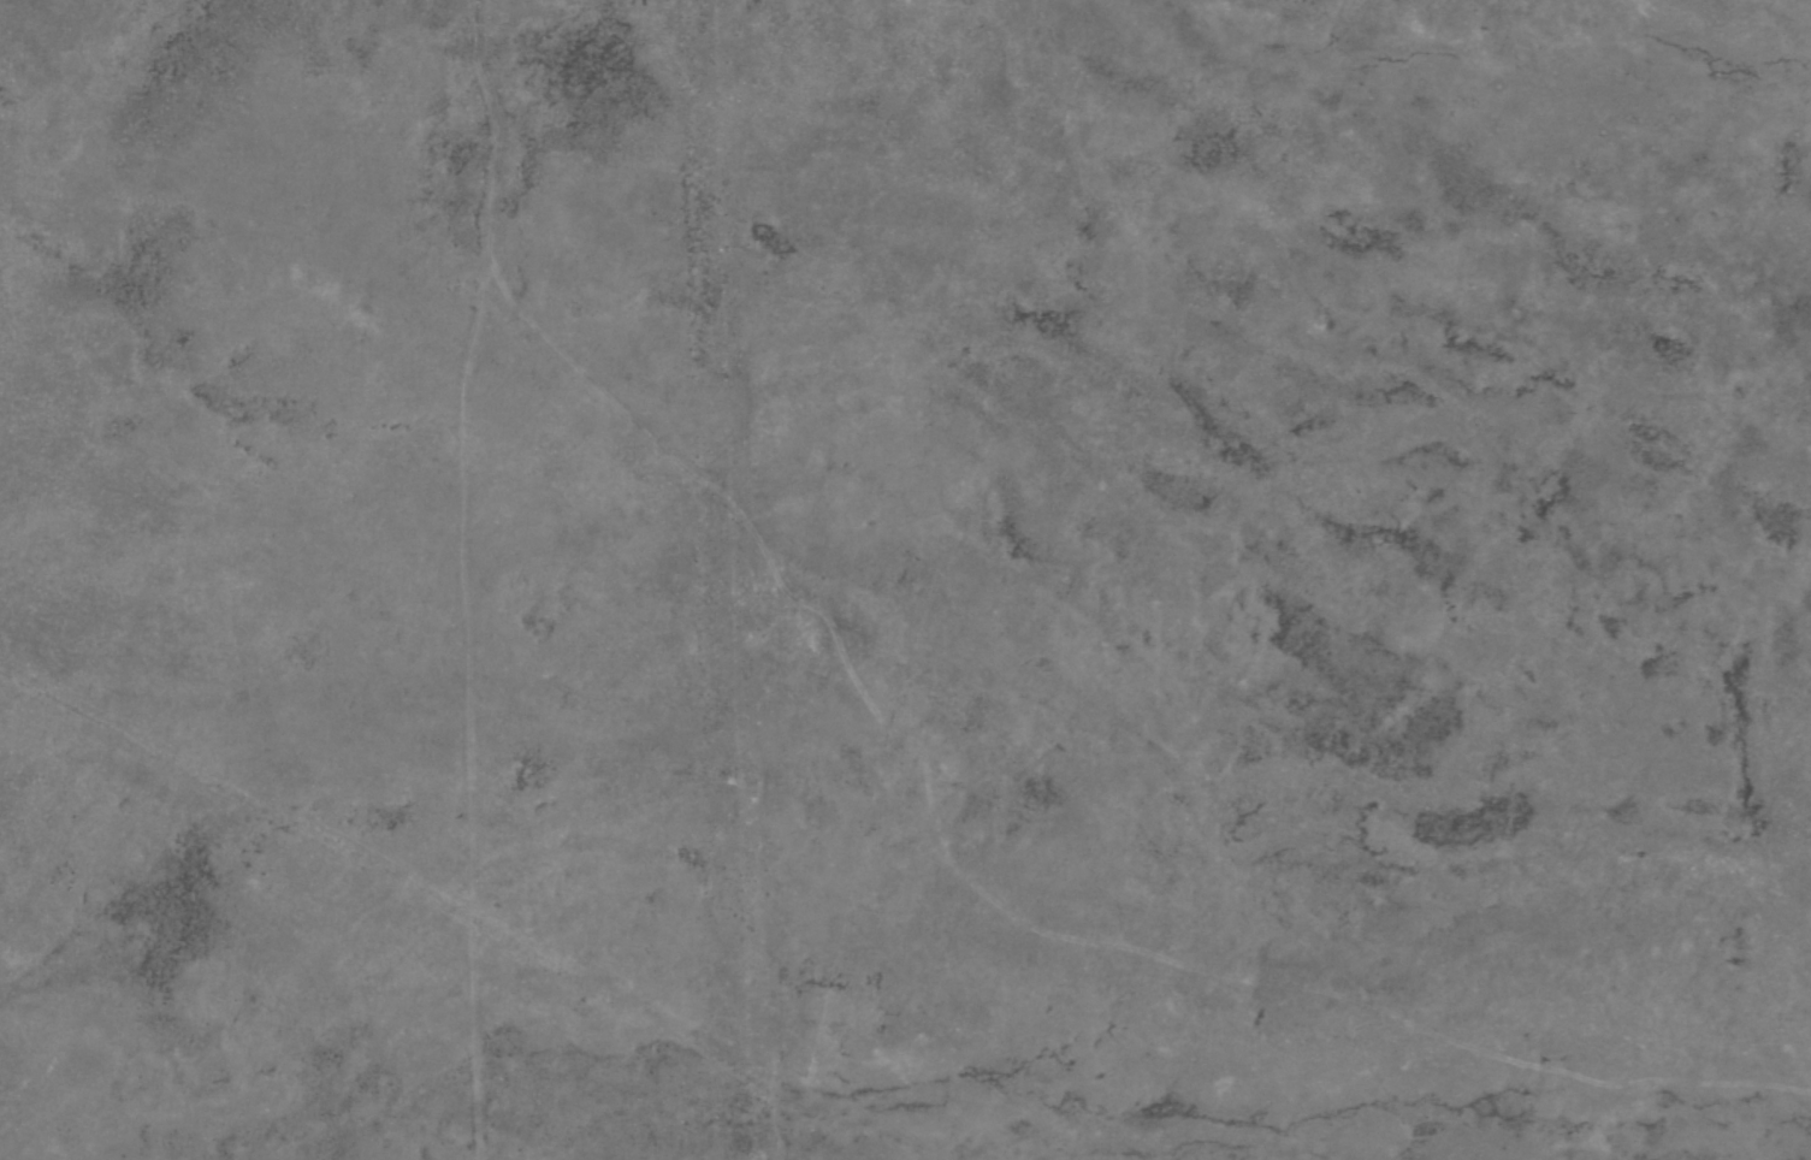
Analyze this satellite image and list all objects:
road: (646, 653)

